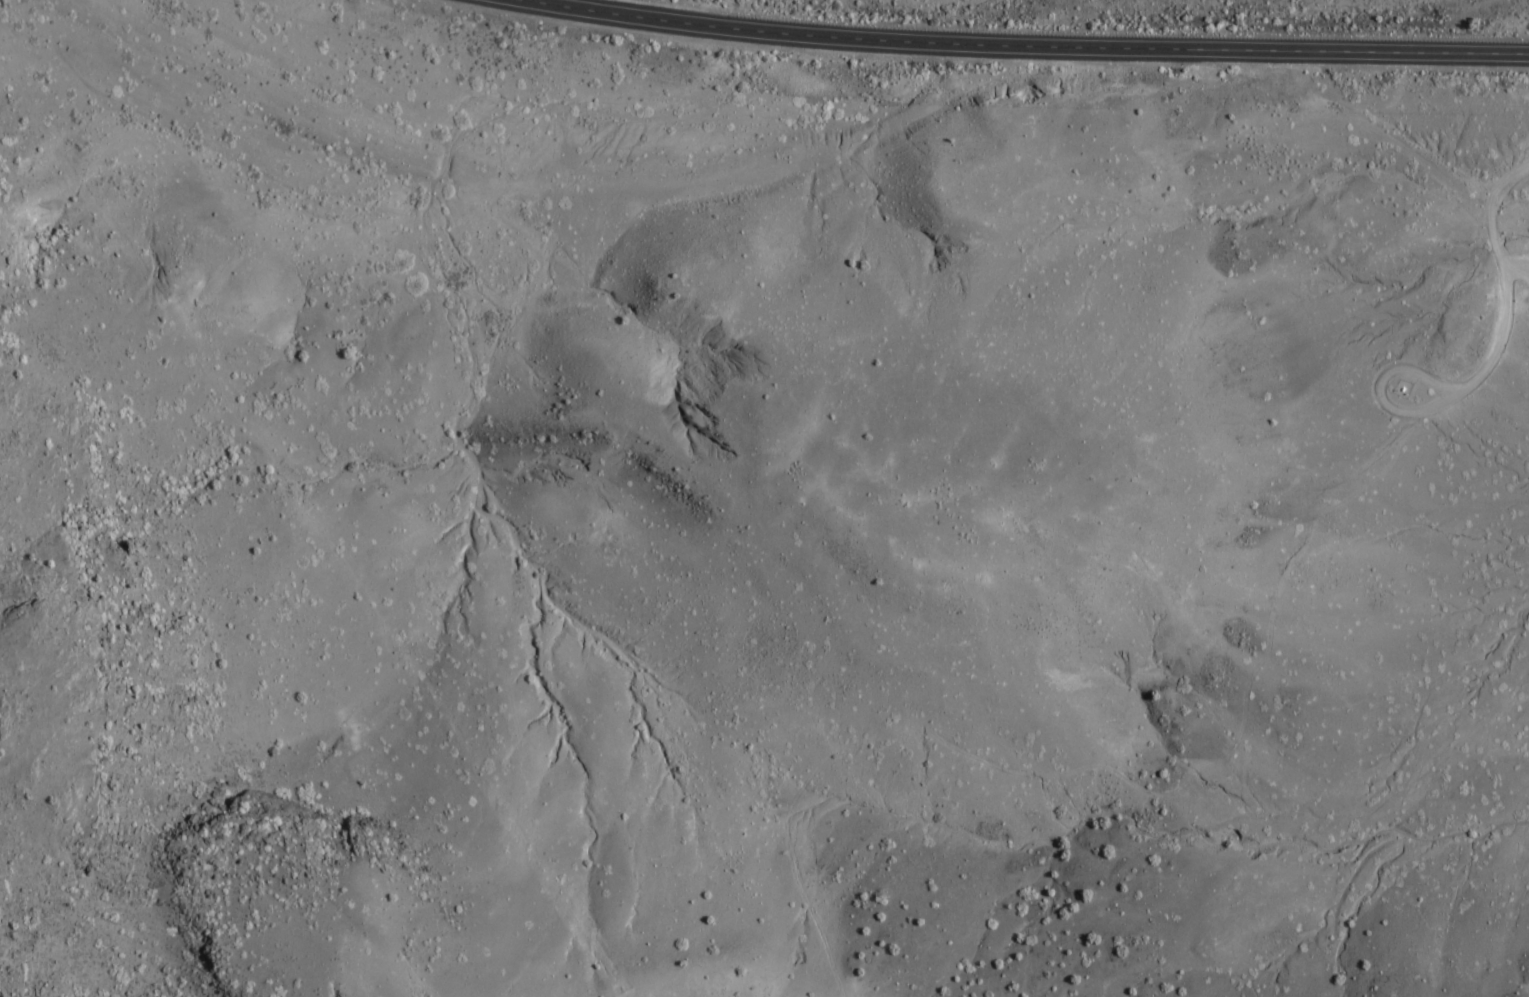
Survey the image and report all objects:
road: (1017, 48)

